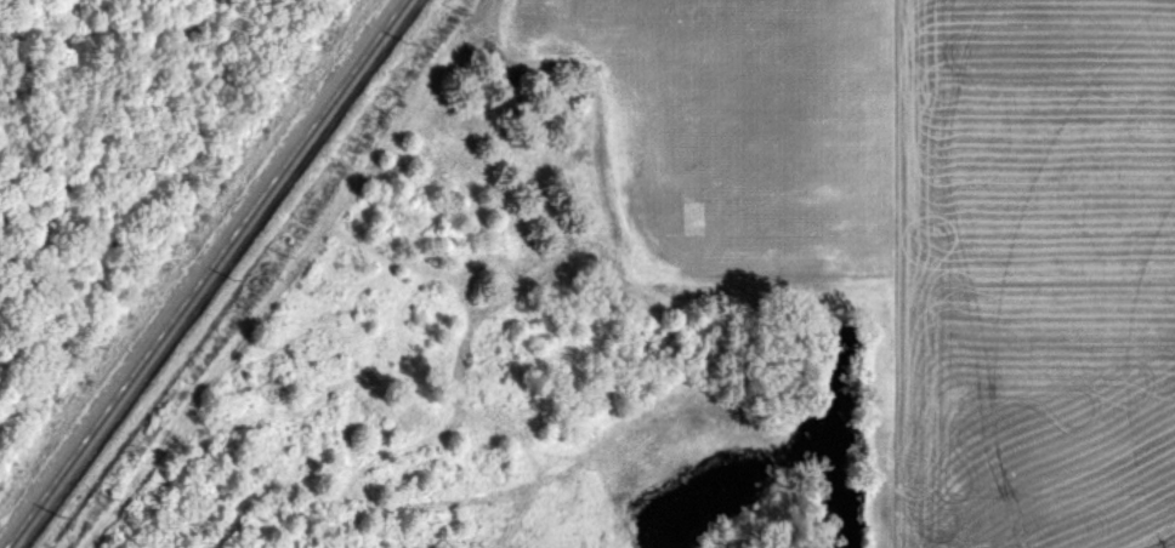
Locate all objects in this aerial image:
railway: (208, 274)

